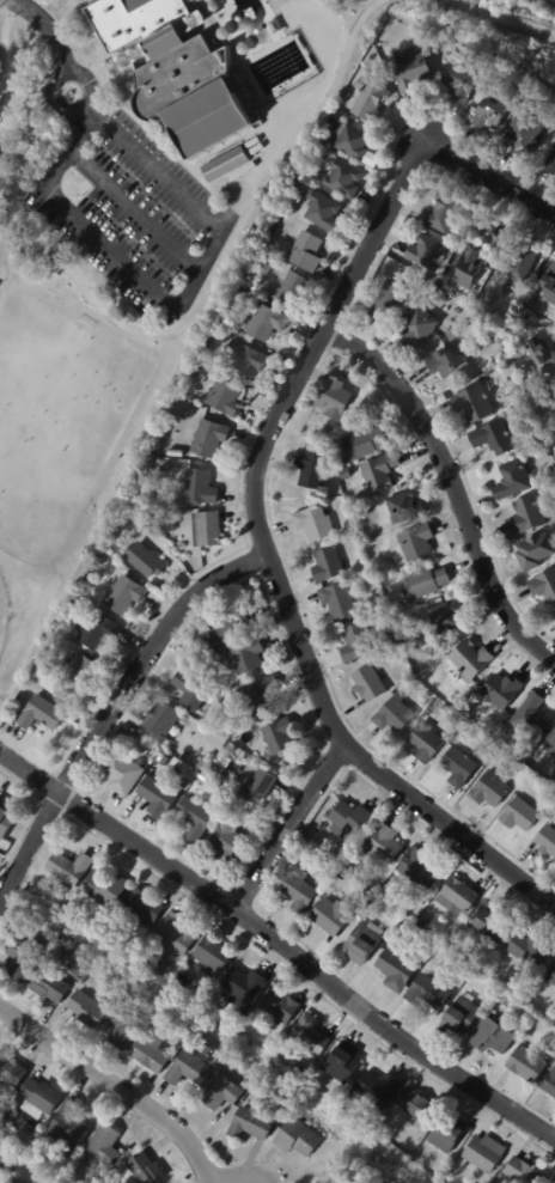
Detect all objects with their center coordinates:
park: (544, 7)
road: (505, 18)
road: (49, 26)
building: (307, 35)
flagpole: (85, 47)
flagpole: (83, 50)
flagpole: (87, 51)
road: (0, 54)
building: (176, 69)
building: (411, 71)
road: (55, 81)
building: (459, 83)
building: (370, 100)
building: (490, 114)
building: (525, 133)
building: (348, 139)
building: (224, 163)
building: (550, 163)
road: (153, 167)
road: (492, 172)
building: (343, 178)
building: (297, 197)
road: (138, 211)
building: (323, 212)
building: (443, 212)
building: (305, 251)
building: (428, 254)
building: (523, 263)
road: (205, 264)
road: (216, 268)
building: (256, 273)
building: (465, 276)
building: (48, 281)
building: (251, 283)
building: (549, 285)
building: (431, 288)
building: (292, 291)
building: (244, 293)
building: (439, 293)
building: (386, 300)
building: (133, 316)
building: (482, 319)
building: (266, 322)
building: (417, 327)
building: (541, 355)
building: (244, 359)
building: (445, 362)
building: (224, 398)
building: (334, 398)
building: (474, 404)
building: (188, 413)
building: (507, 420)
building: (493, 438)
building: (208, 439)
building: (365, 443)
building: (541, 453)
building: (343, 461)
building: (311, 469)
building: (379, 471)
building: (343, 472)
building: (513, 480)
road: (453, 482)
building: (199, 488)
building: (404, 507)
building: (525, 517)
building: (313, 524)
building: (206, 530)
building: (416, 542)
building: (535, 551)
road: (269, 557)
building: (184, 560)
building: (145, 561)
building: (327, 565)
building: (423, 584)
building: (544, 585)
building: (123, 596)
building: (337, 602)
building: (445, 617)
building: (14, 623)
building: (231, 624)
building: (388, 626)
building: (96, 630)
building: (389, 635)
building: (206, 644)
building: (355, 644)
building: (392, 644)
building: (216, 651)
building: (245, 658)
building: (470, 660)
building: (78, 671)
building: (367, 683)
building: (62, 691)
building: (190, 691)
building: (501, 691)
building: (260, 696)
building: (71, 697)
building: (222, 699)
building: (77, 703)
road: (114, 709)
building: (462, 713)
building: (39, 714)
building: (394, 716)
building: (530, 718)
building: (161, 719)
building: (279, 737)
building: (425, 744)
building: (550, 745)
building: (141, 746)
building: (163, 760)
building: (221, 761)
building: (458, 768)
building: (202, 770)
building: (121, 774)
building: (201, 780)
building: (258, 787)
building: (489, 791)
building: (157, 798)
building: (519, 816)
building: (5, 818)
building: (195, 819)
building: (349, 821)
road: (292, 827)
building: (545, 841)
building: (227, 842)
building: (383, 847)
building: (305, 864)
building: (68, 866)
building: (417, 871)
building: (316, 876)
building: (104, 888)
building: (298, 890)
building: (457, 898)
building: (142, 904)
building: (362, 915)
building: (374, 915)
building: (331, 917)
building: (422, 922)
building: (490, 926)
building: (10, 931)
building: (173, 935)
road: (280, 941)
building: (362, 943)
building: (527, 951)
building: (465, 952)
building: (69, 953)
building: (212, 953)
building: (144, 955)
building: (23, 957)
building: (395, 971)
building: (551, 975)
building: (47, 986)
building: (242, 989)
building: (426, 994)
building: (508, 1002)
building: (279, 1005)
building: (85, 1008)
building: (219, 1013)
building: (459, 1018)
building: (122, 1027)
building: (309, 1033)
building: (490, 1037)
building: (203, 1048)
building: (148, 1053)
building: (342, 1062)
building: (526, 1066)
building: (187, 1068)
building: (10, 1071)
building: (150, 1078)
building: (245, 1083)
road: (117, 1084)
building: (549, 1085)
building: (331, 1087)
building: (377, 1089)
building: (219, 1092)
building: (37, 1098)
building: (415, 1104)
building: (274, 1109)
building: (11, 1116)
building: (250, 1121)
building: (66, 1126)
building: (446, 1133)
building: (297, 1138)
building: (103, 1144)
building: (425, 1153)
building: (483, 1153)
building: (11, 1154)
building: (2, 1158)
building: (145, 1169)
building: (523, 1171)
building: (461, 1181)

